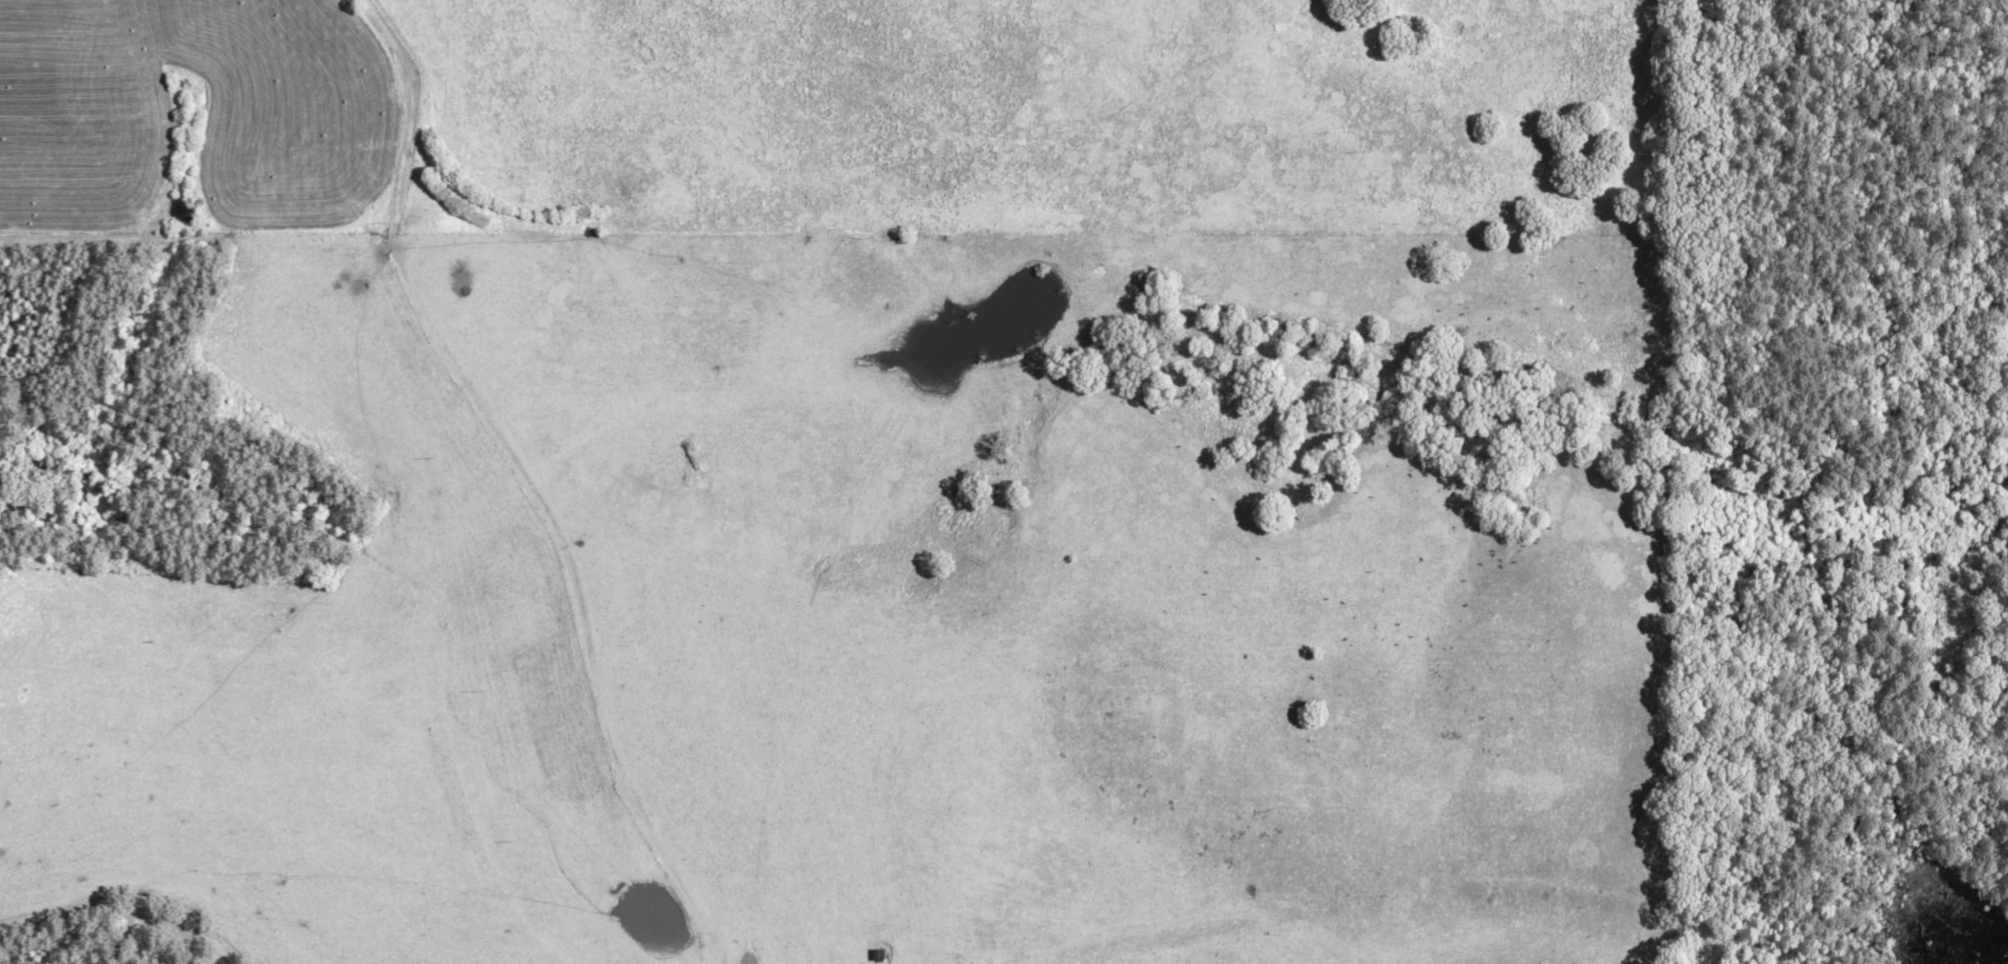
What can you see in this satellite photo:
building: (2006, 347)

